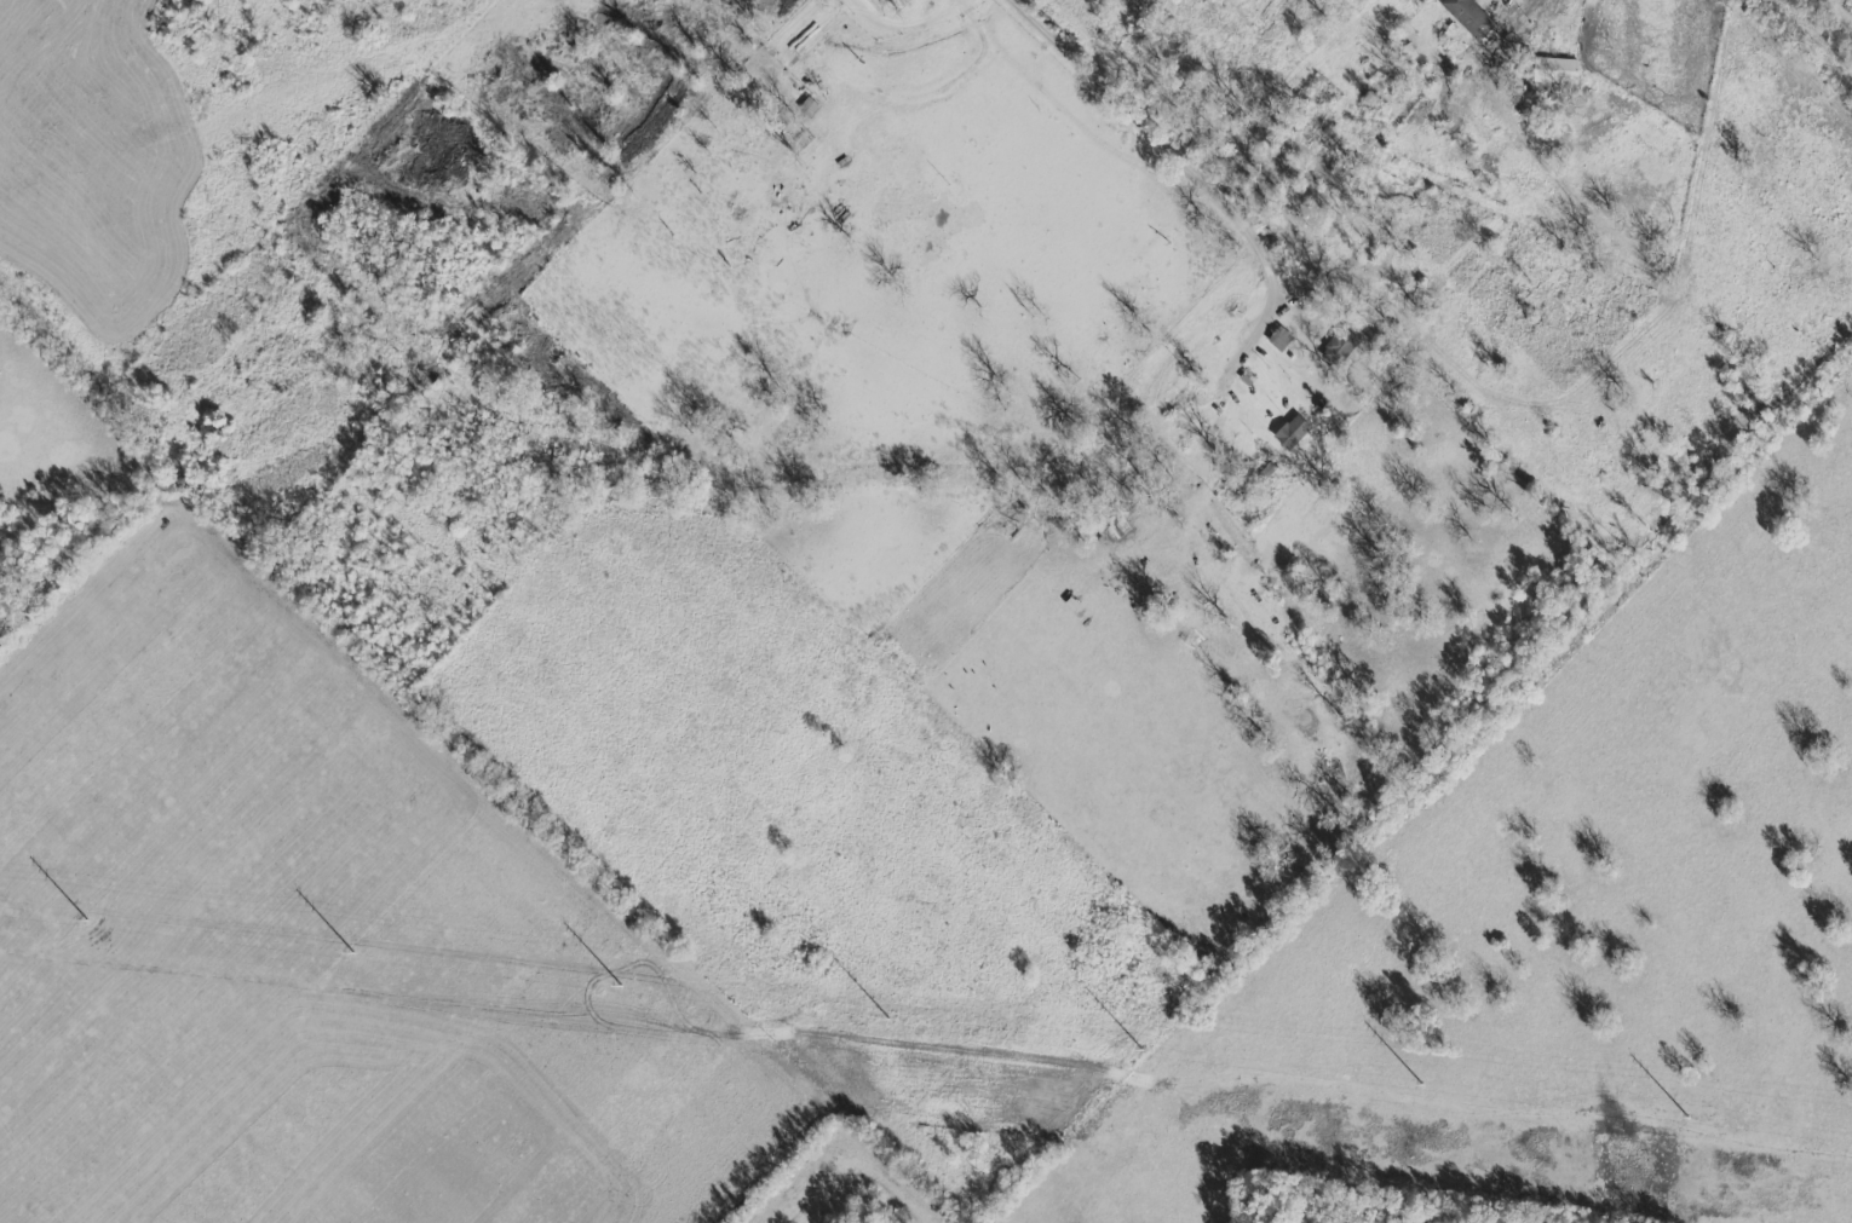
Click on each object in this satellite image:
road: (1547, 12)
building: (1554, 69)
road: (1081, 88)
road: (281, 299)
road: (1249, 327)
building: (1278, 339)
building: (1341, 341)
building: (1290, 431)

